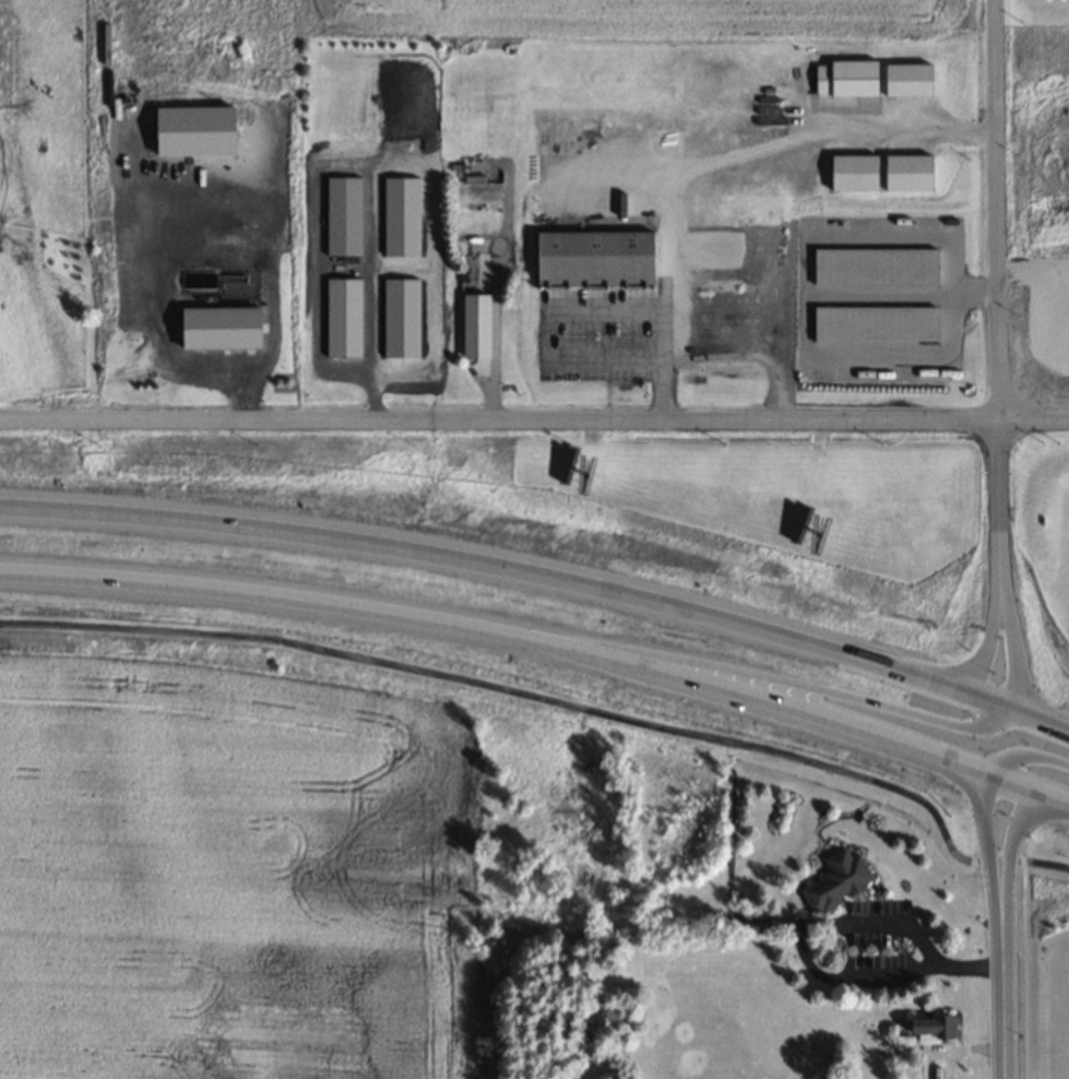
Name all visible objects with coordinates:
building: (845, 78)
building: (907, 80)
building: (852, 173)
building: (907, 173)
building: (343, 215)
building: (593, 256)
road: (1000, 297)
building: (342, 318)
building: (475, 325)
building: (217, 328)
road: (534, 417)
road: (543, 577)
road: (544, 643)
road: (981, 643)
road: (1014, 647)
road: (759, 675)
road: (565, 693)
road: (1023, 751)
road: (990, 832)
road: (1011, 833)
crop: (240, 874)
building: (836, 880)
road: (1005, 984)
building: (929, 1027)

